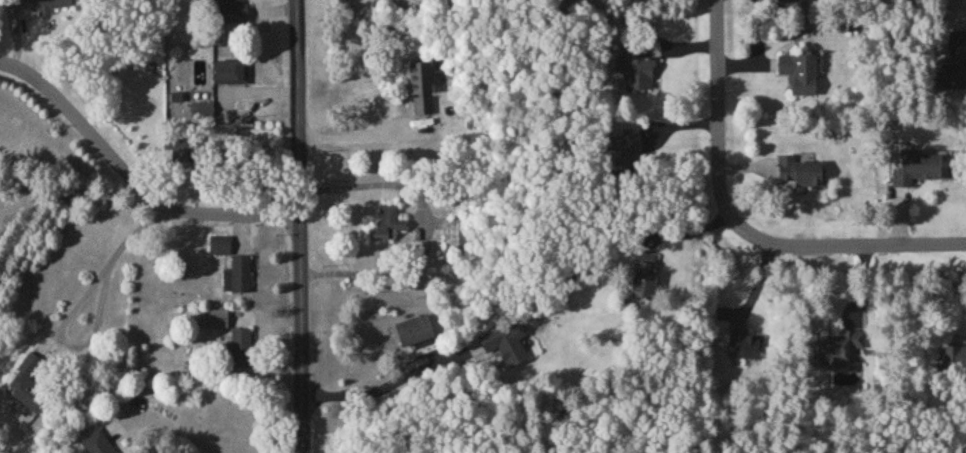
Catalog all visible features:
building: (804, 0)
building: (40, 4)
building: (227, 11)
building: (953, 63)
building: (634, 64)
building: (228, 70)
building: (797, 71)
building: (418, 76)
building: (421, 103)
building: (201, 107)
building: (180, 151)
building: (622, 151)
building: (916, 165)
building: (799, 170)
road: (133, 180)
building: (385, 223)
road: (301, 226)
road: (738, 226)
building: (453, 233)
building: (218, 243)
road: (102, 266)
building: (236, 273)
building: (643, 274)
building: (212, 317)
building: (413, 328)
building: (505, 341)
building: (742, 341)
building: (241, 345)
building: (840, 347)
building: (952, 354)
building: (28, 382)
road: (177, 423)
building: (96, 442)

